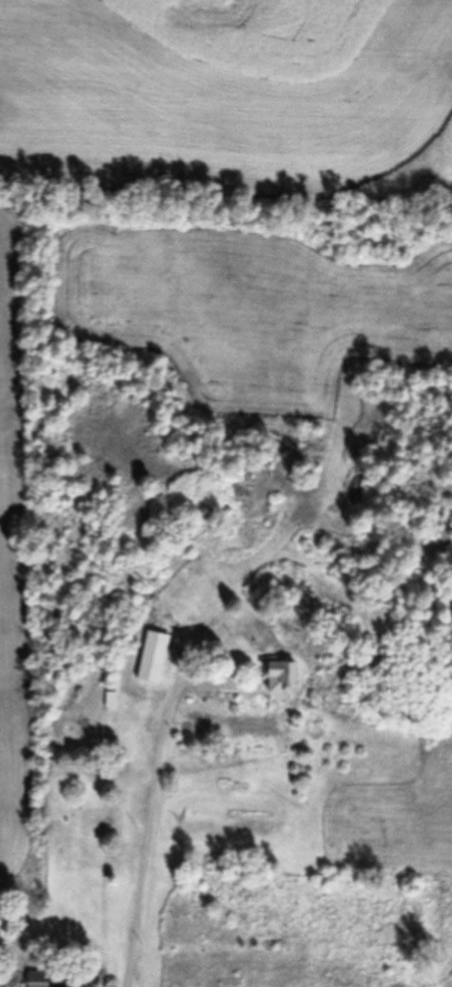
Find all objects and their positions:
building: (196, 592)
building: (147, 657)
building: (271, 674)
road: (148, 861)
building: (35, 979)

